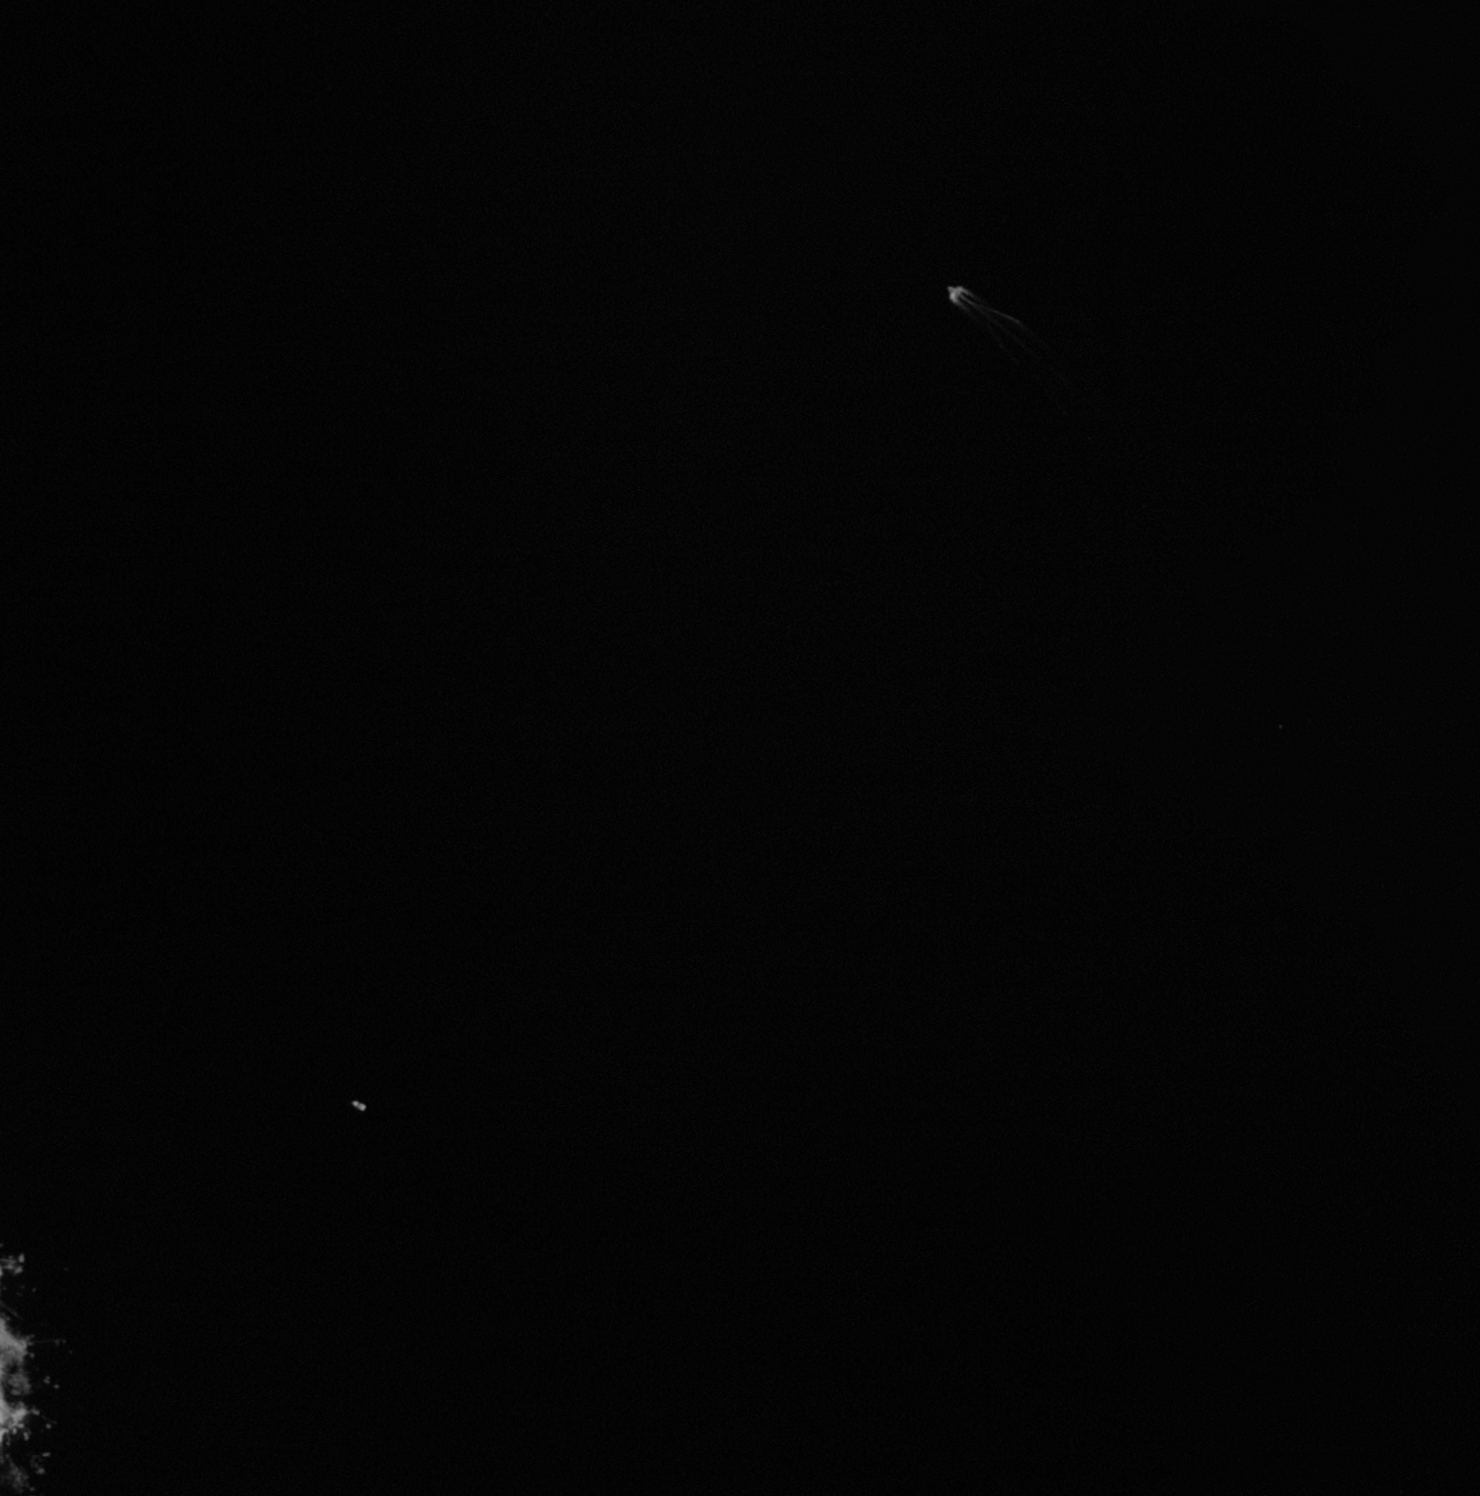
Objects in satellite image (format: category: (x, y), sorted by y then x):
park: (27, 1342)

